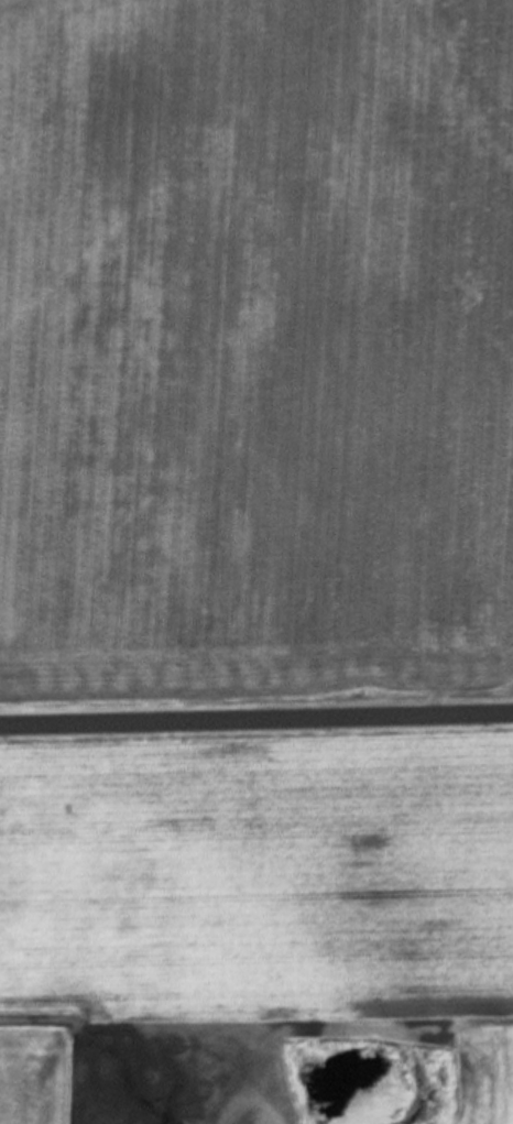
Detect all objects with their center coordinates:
road: (256, 719)

